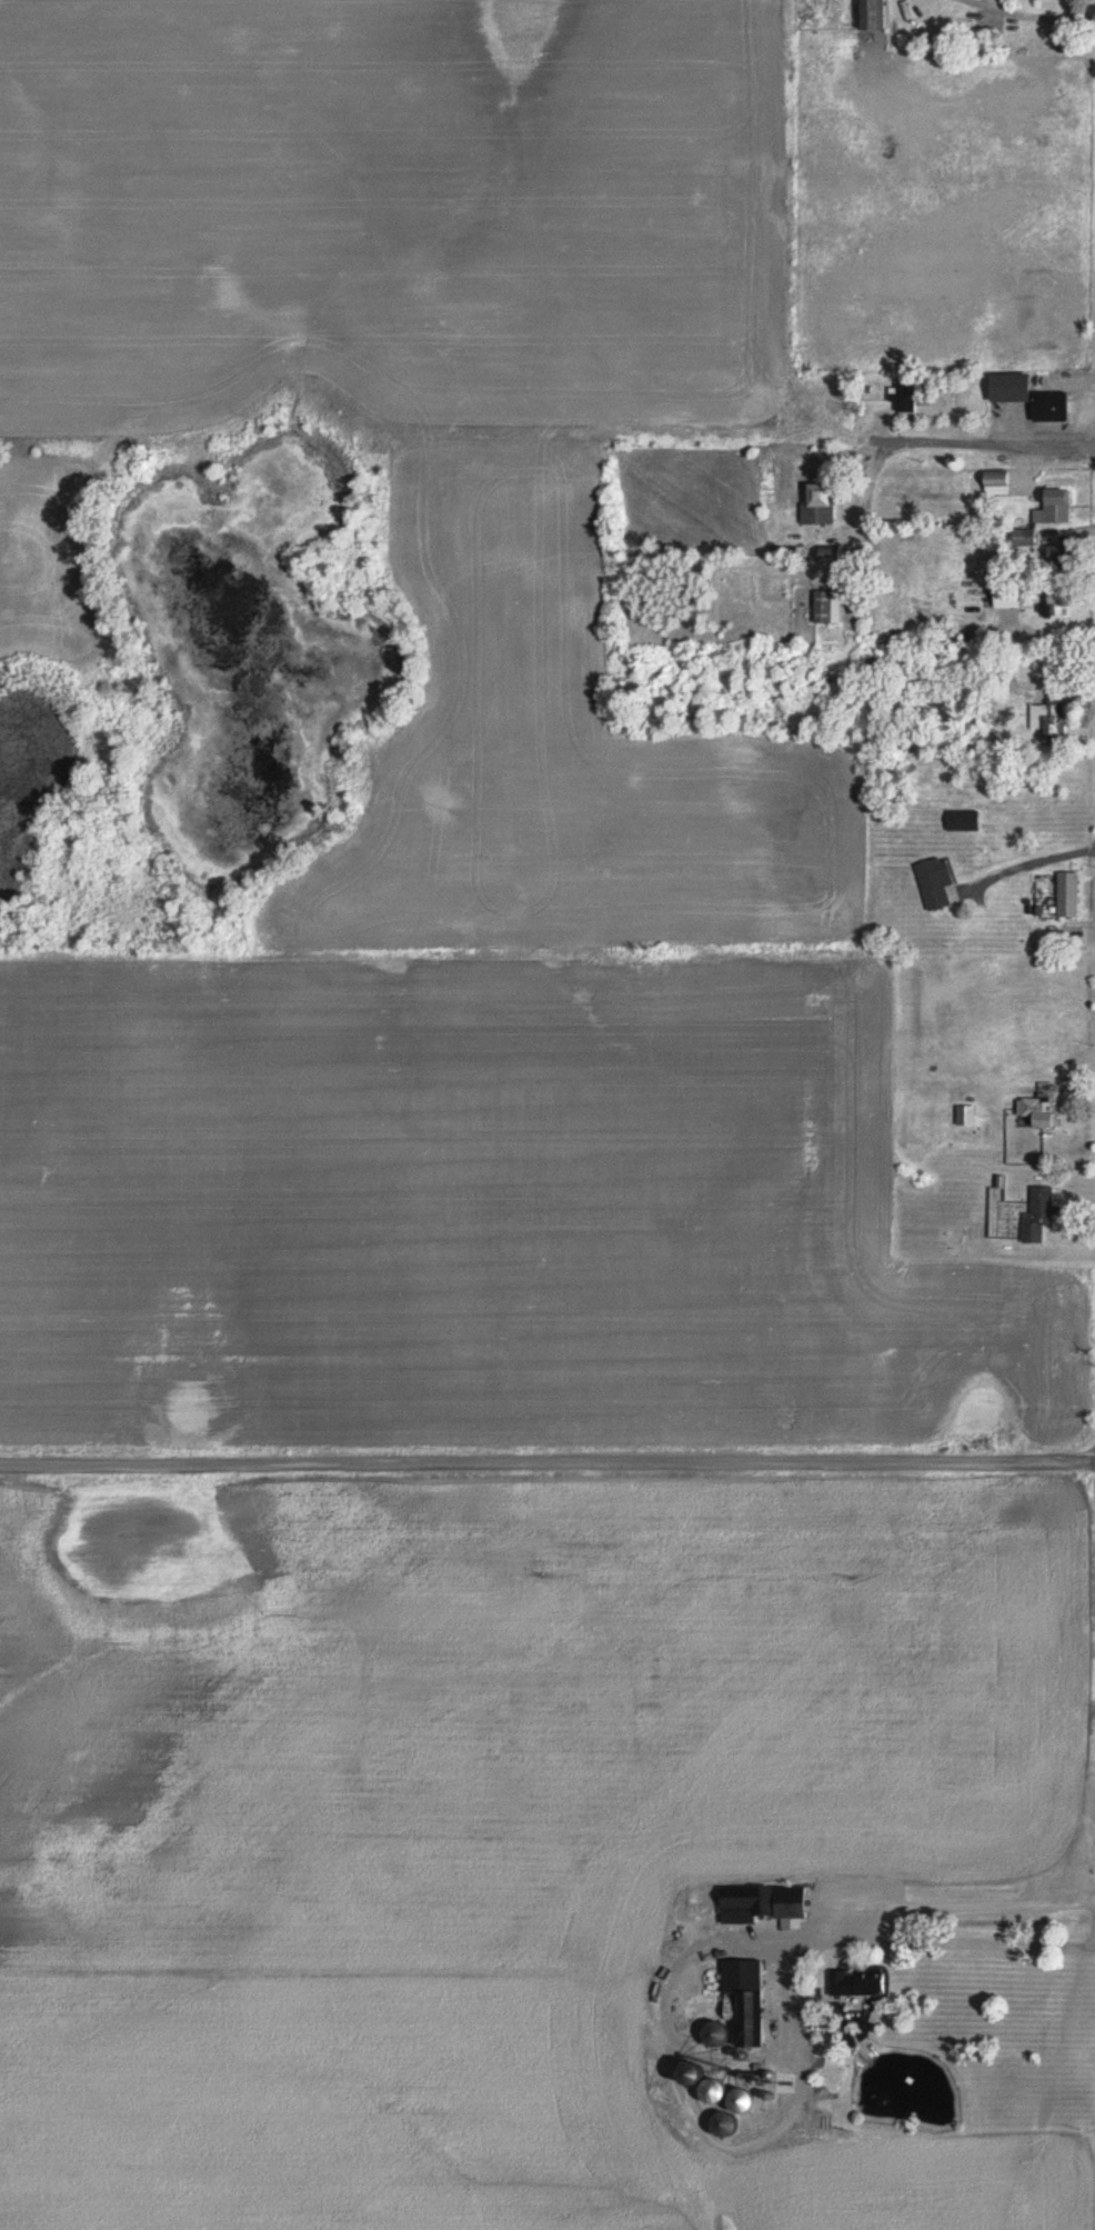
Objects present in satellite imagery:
building: (870, 14)
crop: (396, 209)
building: (905, 396)
building: (1036, 397)
road: (994, 450)
building: (999, 483)
building: (823, 507)
building: (1056, 508)
building: (1025, 537)
building: (833, 554)
building: (1009, 597)
building: (830, 608)
building: (1042, 717)
building: (964, 820)
building: (936, 882)
building: (1068, 894)
building: (1037, 1113)
building: (967, 1116)
building: (1025, 1213)
road: (547, 1467)
crop: (483, 1570)
building: (767, 1904)
building: (855, 1986)
building: (747, 1999)

